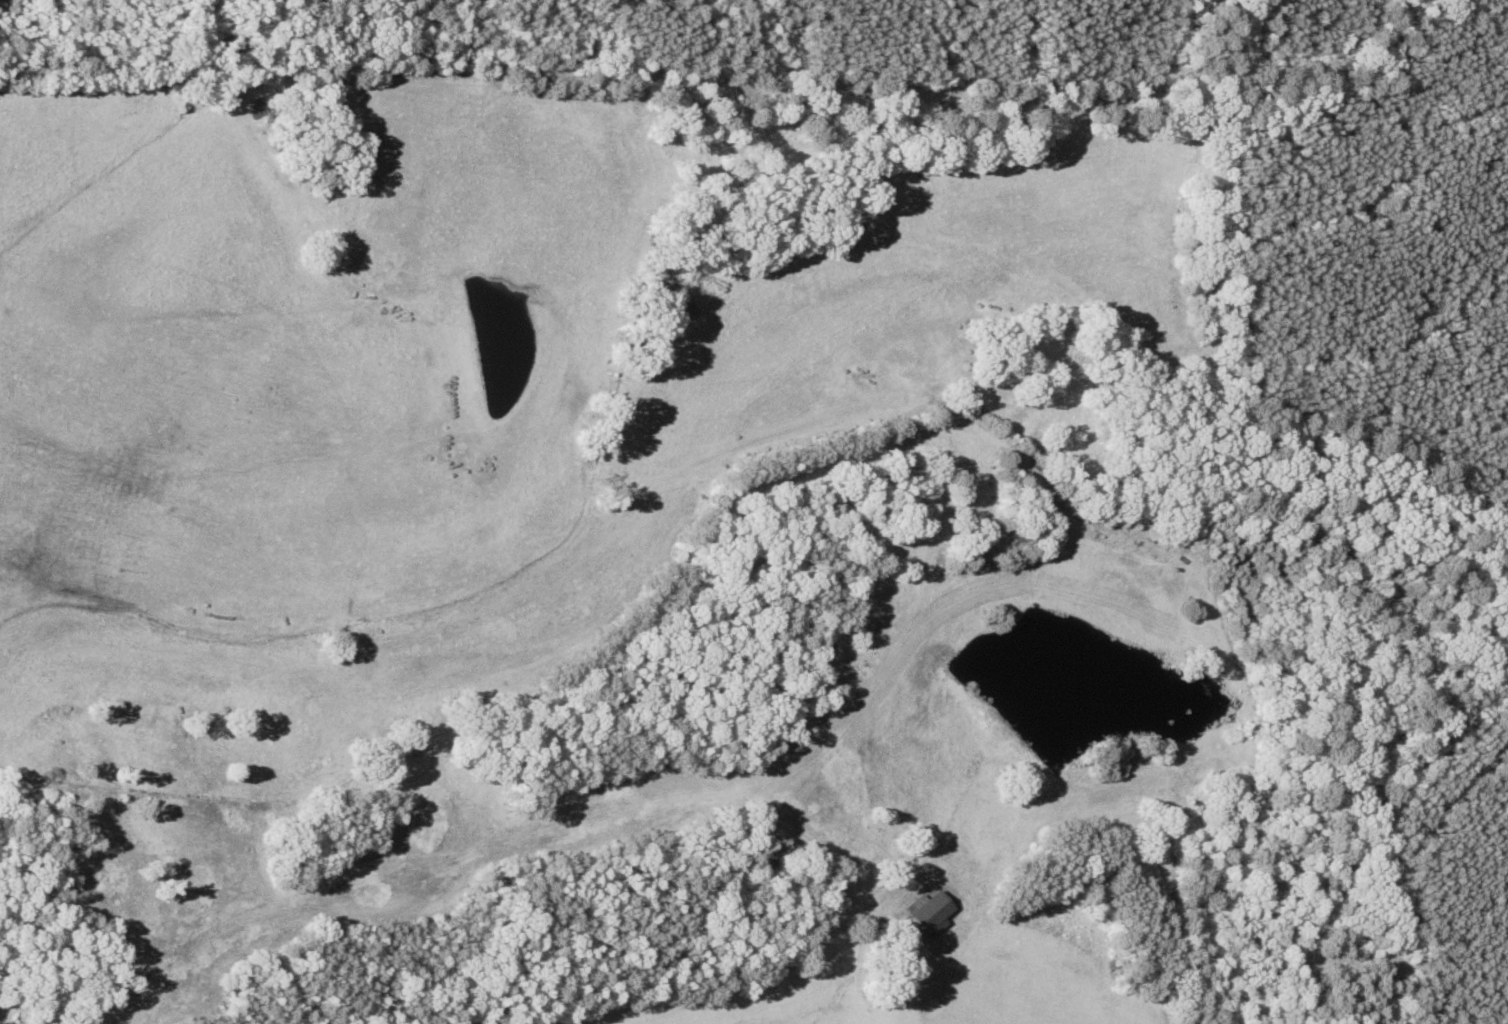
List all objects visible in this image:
building: (930, 912)

